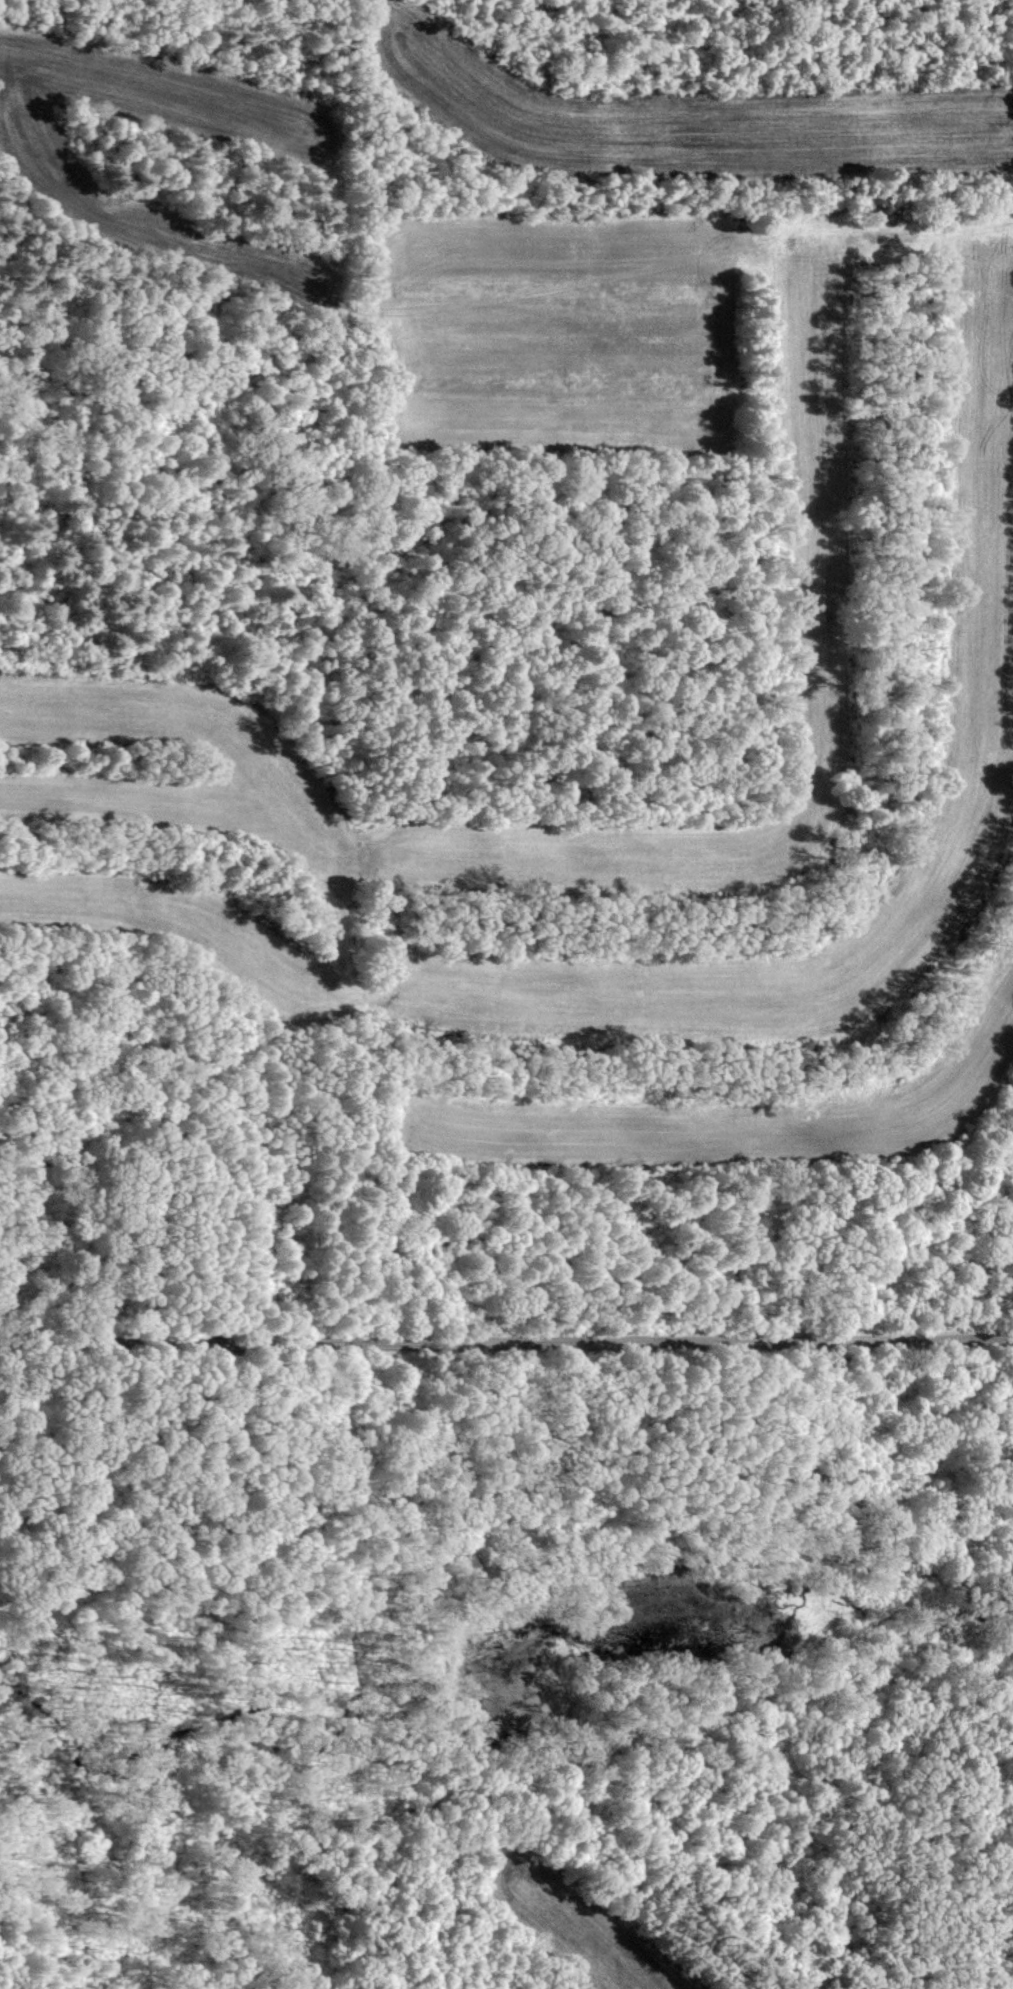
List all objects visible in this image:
road: (506, 1344)

